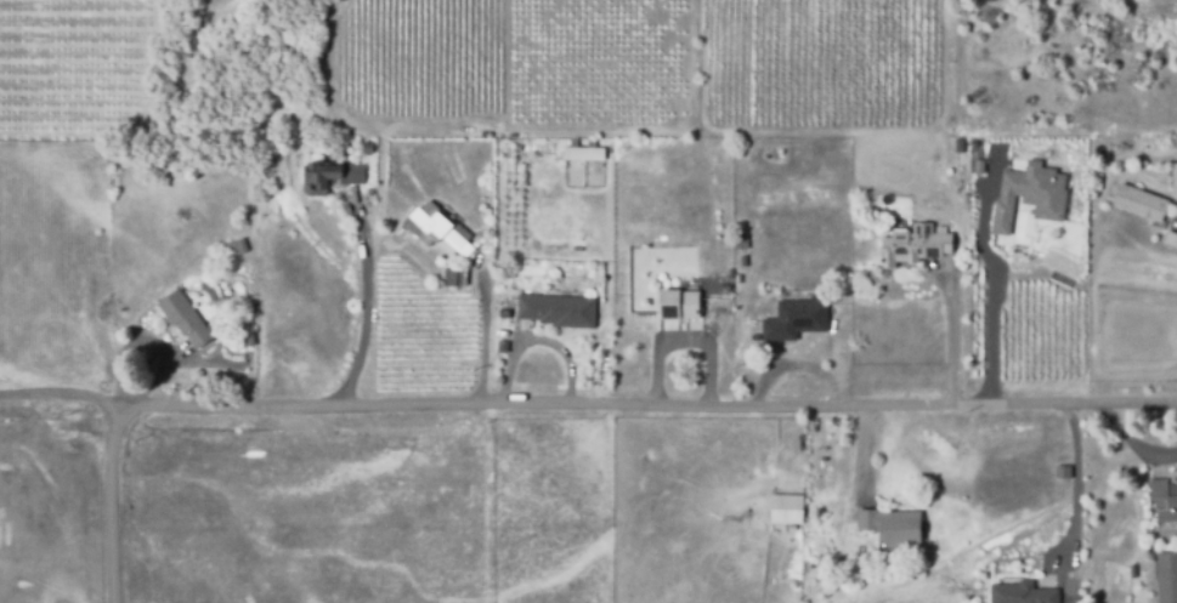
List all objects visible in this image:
building: (957, 144)
building: (366, 147)
building: (583, 154)
building: (329, 176)
building: (1175, 181)
building: (1030, 192)
building: (1141, 201)
building: (438, 232)
building: (1170, 238)
building: (739, 241)
building: (913, 244)
building: (234, 250)
building: (452, 278)
road: (990, 300)
building: (678, 303)
road: (364, 308)
building: (556, 309)
building: (185, 318)
building: (796, 318)
road: (483, 335)
road: (951, 337)
road: (537, 341)
road: (679, 342)
building: (502, 346)
road: (793, 366)
road: (588, 406)
building: (1062, 471)
road: (1074, 496)
building: (1164, 499)
road: (112, 501)
building: (786, 508)
building: (892, 528)
building: (1166, 576)
building: (1022, 592)

